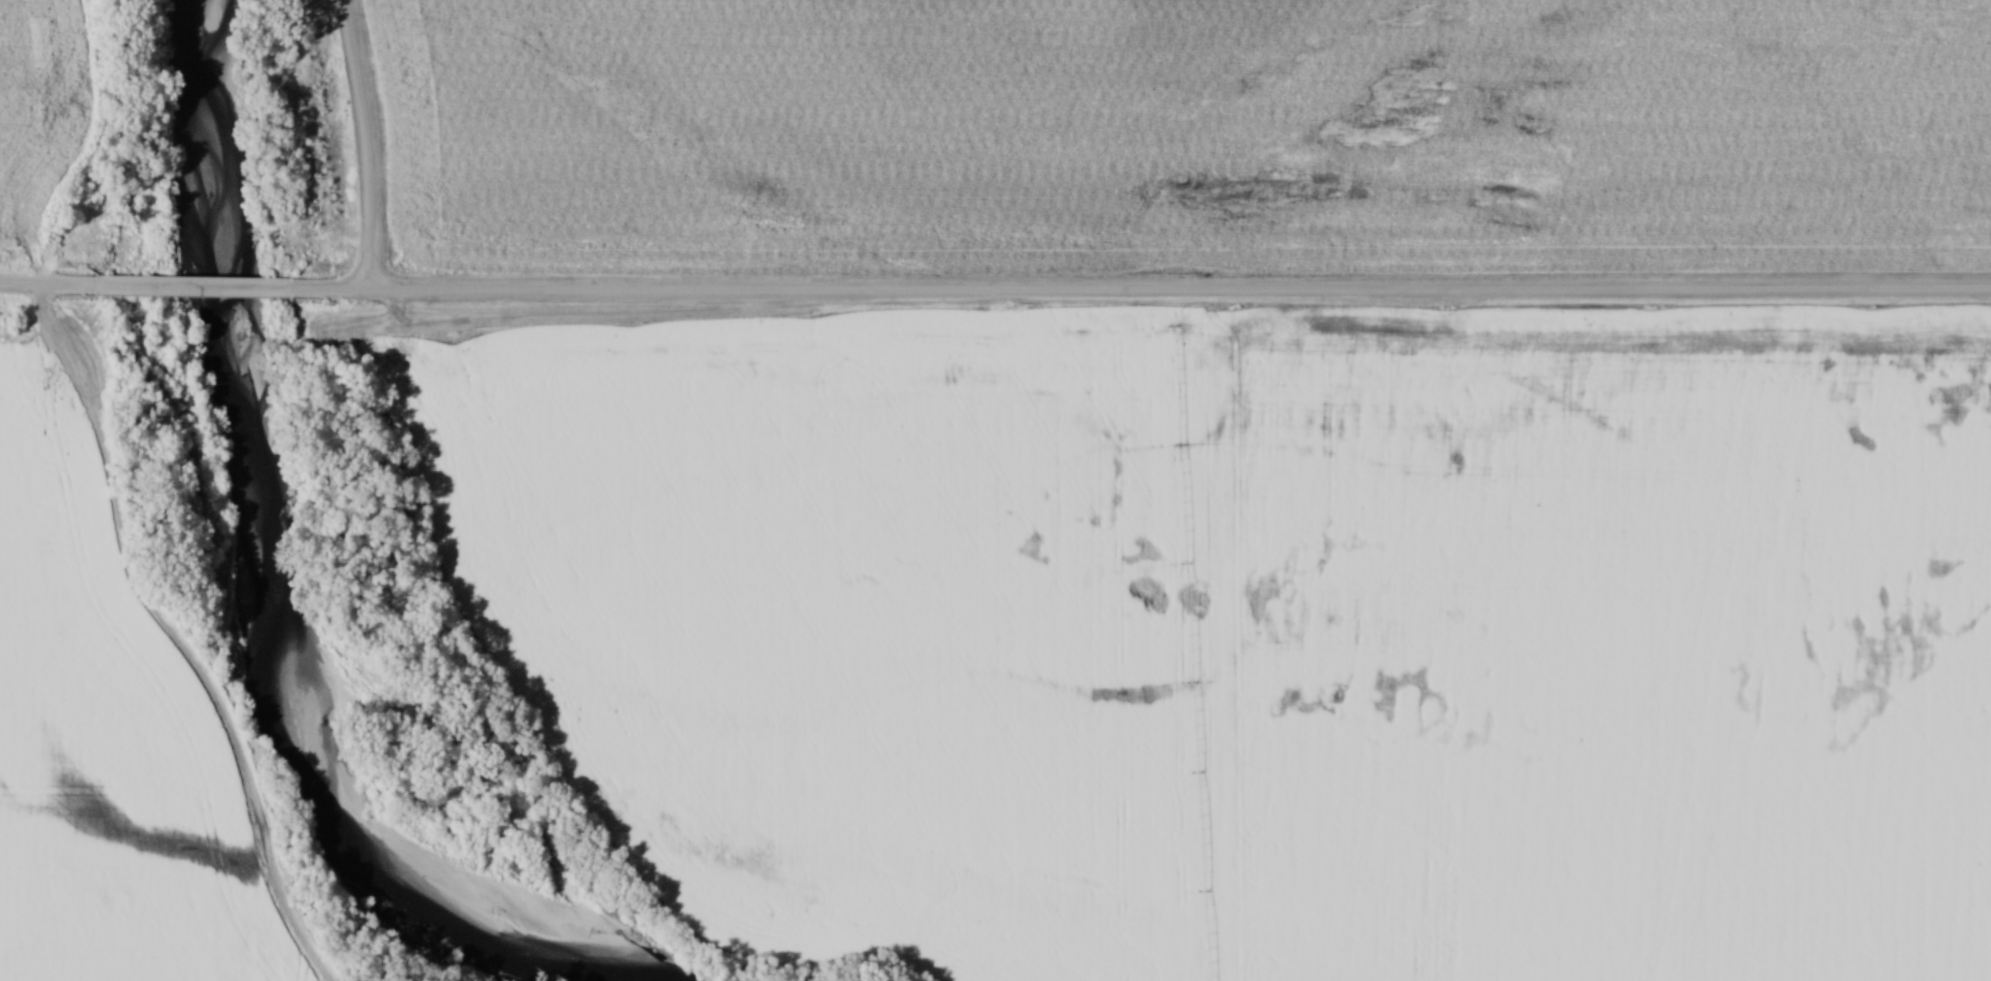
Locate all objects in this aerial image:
road: (368, 140)
road: (191, 280)
road: (48, 281)
road: (1138, 292)
river: (248, 584)
road: (170, 634)

